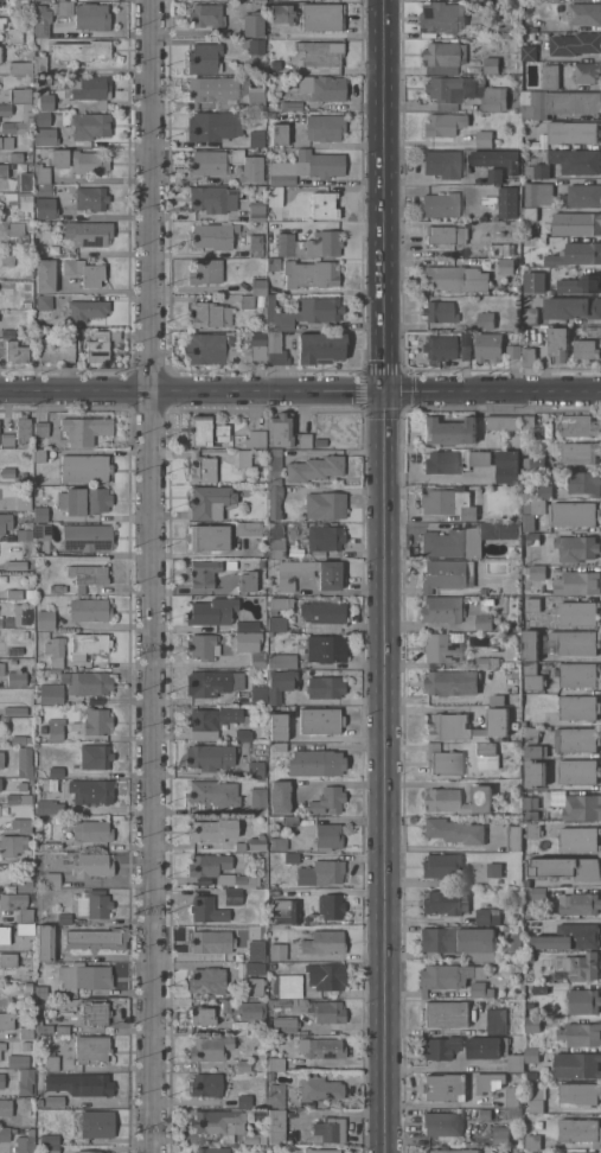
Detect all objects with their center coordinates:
building: (486, 0)
building: (2, 1)
building: (23, 7)
building: (65, 7)
building: (282, 13)
building: (583, 13)
building: (206, 14)
building: (92, 15)
building: (322, 15)
building: (441, 15)
building: (41, 19)
building: (2, 20)
building: (252, 23)
building: (504, 28)
building: (15, 34)
building: (575, 44)
building: (256, 45)
building: (529, 46)
building: (82, 50)
building: (1, 52)
building: (320, 52)
building: (30, 56)
building: (443, 57)
building: (204, 58)
building: (40, 63)
building: (492, 65)
building: (20, 66)
building: (588, 78)
building: (85, 85)
building: (319, 87)
building: (212, 88)
building: (463, 93)
building: (20, 95)
building: (256, 98)
building: (50, 101)
building: (558, 102)
building: (289, 104)
building: (6, 109)
building: (273, 114)
building: (41, 119)
building: (20, 121)
building: (443, 123)
building: (90, 125)
building: (213, 125)
building: (325, 127)
building: (573, 132)
building: (45, 135)
building: (277, 135)
building: (256, 138)
building: (484, 139)
building: (7, 141)
building: (15, 155)
building: (497, 158)
building: (81, 160)
building: (441, 163)
building: (567, 163)
building: (225, 164)
building: (312, 166)
building: (2, 170)
building: (41, 173)
building: (495, 176)
building: (24, 180)
building: (261, 187)
building: (43, 189)
building: (538, 193)
building: (273, 195)
building: (582, 195)
building: (91, 197)
building: (213, 198)
building: (20, 199)
building: (509, 202)
building: (440, 204)
building: (324, 205)
building: (46, 206)
building: (256, 210)
building: (531, 214)
building: (577, 223)
building: (30, 225)
building: (17, 228)
building: (89, 232)
building: (446, 234)
building: (215, 235)
building: (309, 243)
building: (256, 244)
building: (43, 249)
building: (500, 249)
building: (270, 254)
building: (576, 254)
building: (8, 257)
building: (273, 263)
building: (506, 266)
building: (84, 270)
building: (205, 270)
building: (311, 273)
building: (45, 274)
building: (456, 278)
building: (580, 284)
building: (258, 286)
building: (7, 298)
building: (531, 299)
building: (247, 300)
building: (44, 301)
building: (573, 306)
building: (87, 310)
building: (440, 311)
building: (210, 314)
building: (531, 316)
building: (486, 319)
building: (270, 330)
building: (8, 332)
building: (560, 343)
building: (589, 344)
building: (98, 346)
building: (440, 346)
building: (490, 346)
building: (320, 348)
building: (56, 349)
building: (210, 349)
building: (15, 351)
building: (258, 351)
building: (514, 351)
building: (465, 352)
building: (529, 357)
road: (300, 387)
traffic signals: (385, 388)
building: (504, 421)
building: (531, 421)
building: (580, 426)
building: (40, 427)
building: (23, 428)
building: (85, 429)
building: (449, 429)
building: (205, 431)
building: (286, 431)
building: (255, 438)
building: (7, 440)
building: (581, 452)
building: (38, 454)
building: (243, 458)
building: (480, 458)
building: (442, 461)
building: (535, 463)
building: (274, 466)
building: (507, 466)
building: (85, 467)
building: (202, 467)
building: (314, 467)
building: (7, 471)
road: (434, 479)
building: (586, 483)
building: (544, 491)
building: (0, 492)
building: (84, 499)
building: (274, 501)
building: (24, 502)
building: (210, 502)
building: (453, 502)
building: (326, 504)
building: (536, 508)
building: (40, 514)
building: (574, 514)
building: (5, 521)
building: (248, 528)
building: (43, 530)
building: (24, 534)
building: (87, 536)
building: (209, 537)
building: (325, 537)
building: (533, 537)
building: (276, 539)
building: (467, 539)
building: (577, 547)
building: (261, 562)
building: (15, 565)
building: (204, 572)
building: (294, 572)
building: (538, 572)
building: (330, 574)
building: (446, 574)
building: (88, 575)
road: (152, 575)
road: (385, 575)
building: (248, 581)
building: (578, 582)
building: (57, 588)
building: (14, 593)
building: (30, 593)
building: (279, 604)
building: (532, 604)
building: (94, 609)
building: (442, 609)
building: (212, 611)
building: (322, 611)
building: (578, 613)
building: (26, 614)
building: (46, 618)
building: (7, 622)
building: (484, 622)
building: (276, 623)
building: (248, 625)
building: (26, 633)
building: (576, 642)
building: (89, 644)
building: (531, 644)
building: (203, 646)
building: (250, 646)
building: (443, 646)
building: (326, 648)
building: (55, 651)
building: (282, 660)
building: (487, 662)
building: (2, 668)
building: (491, 673)
building: (516, 673)
building: (580, 675)
building: (533, 676)
building: (17, 679)
building: (450, 681)
building: (89, 682)
building: (207, 682)
building: (280, 683)
building: (325, 687)
building: (52, 693)
building: (257, 694)
building: (578, 707)
building: (15, 711)
building: (95, 720)
building: (212, 720)
building: (320, 720)
building: (279, 725)
building: (446, 726)
building: (55, 727)
building: (532, 733)
building: (243, 734)
building: (20, 739)
building: (576, 739)
building: (280, 746)
building: (487, 749)
building: (536, 751)
building: (95, 756)
building: (210, 756)
building: (1, 759)
building: (443, 759)
building: (25, 762)
building: (315, 762)
building: (256, 769)
building: (56, 771)
building: (578, 771)
building: (536, 772)
building: (0, 783)
building: (92, 791)
building: (215, 792)
building: (280, 796)
building: (18, 798)
building: (327, 800)
building: (258, 801)
building: (441, 801)
building: (49, 807)
building: (582, 807)
building: (532, 814)
building: (58, 820)
building: (289, 820)
building: (24, 824)
building: (213, 829)
building: (533, 829)
building: (91, 830)
building: (454, 830)
building: (327, 836)
building: (514, 837)
building: (580, 837)
building: (256, 842)
building: (277, 842)
building: (12, 845)
building: (239, 846)
building: (290, 856)
building: (260, 861)
building: (94, 864)
building: (209, 864)
building: (439, 865)
building: (567, 867)
building: (321, 872)
building: (495, 874)
building: (52, 879)
building: (245, 879)
building: (535, 883)
building: (25, 884)
building: (539, 892)
building: (234, 896)
building: (445, 900)
building: (94, 903)
building: (580, 903)
building: (331, 905)
building: (202, 907)
building: (8, 909)
building: (287, 910)
building: (487, 916)
building: (64, 918)
building: (25, 929)
building: (4, 935)
building: (571, 937)
building: (97, 938)
building: (211, 941)
building: (459, 941)
building: (45, 942)
building: (324, 942)
building: (513, 942)
building: (23, 947)
building: (256, 950)
building: (277, 951)
building: (531, 955)
building: (7, 958)
building: (582, 966)
building: (254, 967)
building: (85, 975)
building: (327, 975)
building: (447, 976)
building: (207, 980)
building: (289, 985)
building: (25, 986)
building: (252, 986)
building: (539, 988)
building: (481, 989)
building: (41, 992)
building: (28, 1000)
building: (584, 1001)
building: (8, 1004)
building: (225, 1005)
building: (312, 1008)
building: (251, 1009)
building: (96, 1012)
building: (445, 1013)
building: (200, 1015)
building: (7, 1019)
building: (497, 1020)
building: (284, 1024)
building: (533, 1024)
building: (241, 1026)
building: (63, 1028)
building: (41, 1030)
building: (26, 1031)
building: (581, 1033)
building: (321, 1046)
building: (440, 1046)
building: (2, 1047)
building: (210, 1047)
building: (91, 1049)
building: (495, 1050)
building: (532, 1055)
building: (18, 1060)
building: (51, 1060)
building: (276, 1063)
building: (243, 1064)
building: (576, 1064)
building: (18, 1072)
building: (531, 1075)
building: (0, 1078)
building: (25, 1081)
building: (39, 1081)
building: (490, 1081)
building: (79, 1083)
building: (206, 1084)
building: (445, 1087)
building: (320, 1089)
building: (580, 1094)
building: (275, 1095)
building: (514, 1097)
building: (537, 1098)
building: (55, 1100)
building: (244, 1100)
building: (39, 1102)
building: (6, 1107)
building: (513, 1113)
building: (257, 1114)
building: (486, 1114)
building: (220, 1121)
building: (442, 1122)
building: (97, 1123)
building: (276, 1125)
building: (328, 1129)
building: (580, 1130)
building: (6, 1132)
building: (501, 1135)
building: (50, 1138)
building: (254, 1138)
building: (533, 1141)
building: (25, 1142)
building: (52, 1148)
building: (209, 1149)
building: (322, 1149)
building: (90, 1151)
building: (453, 1151)
building: (582, 1152)

